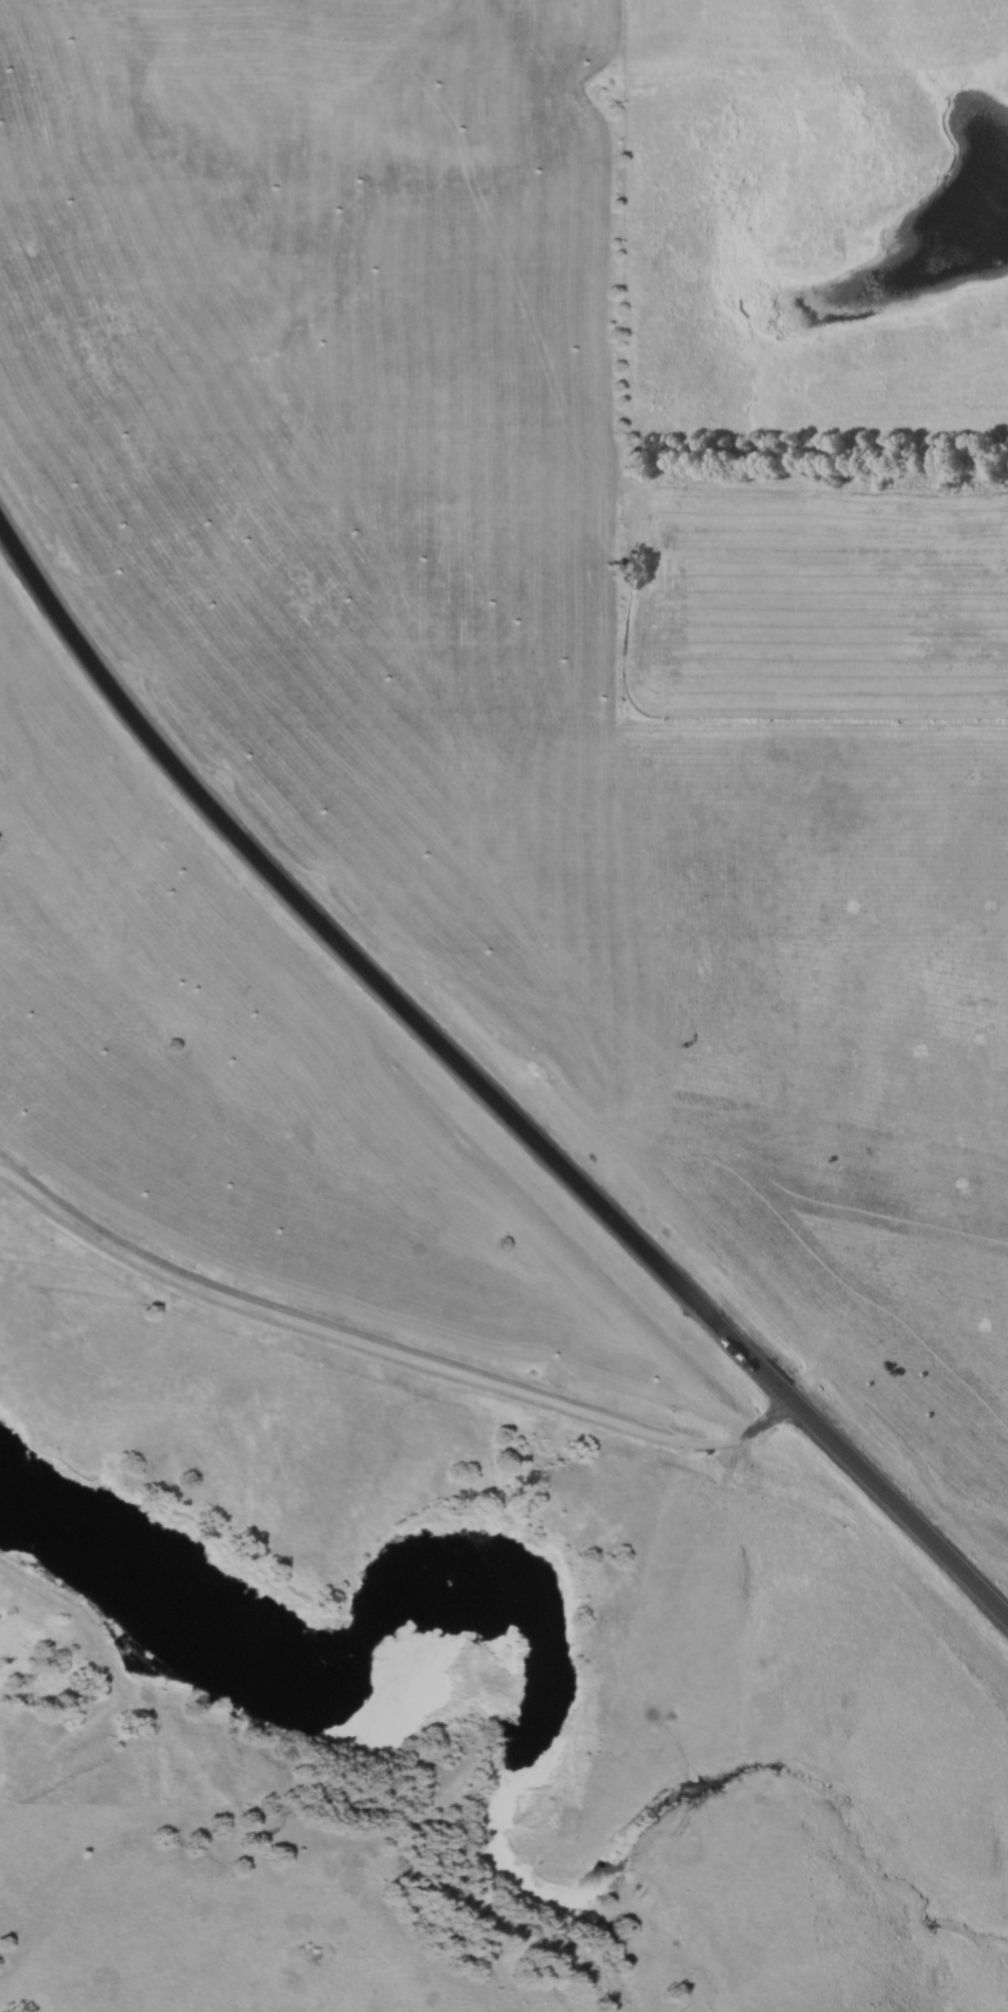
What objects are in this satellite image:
road: (482, 1095)
road: (389, 1362)

